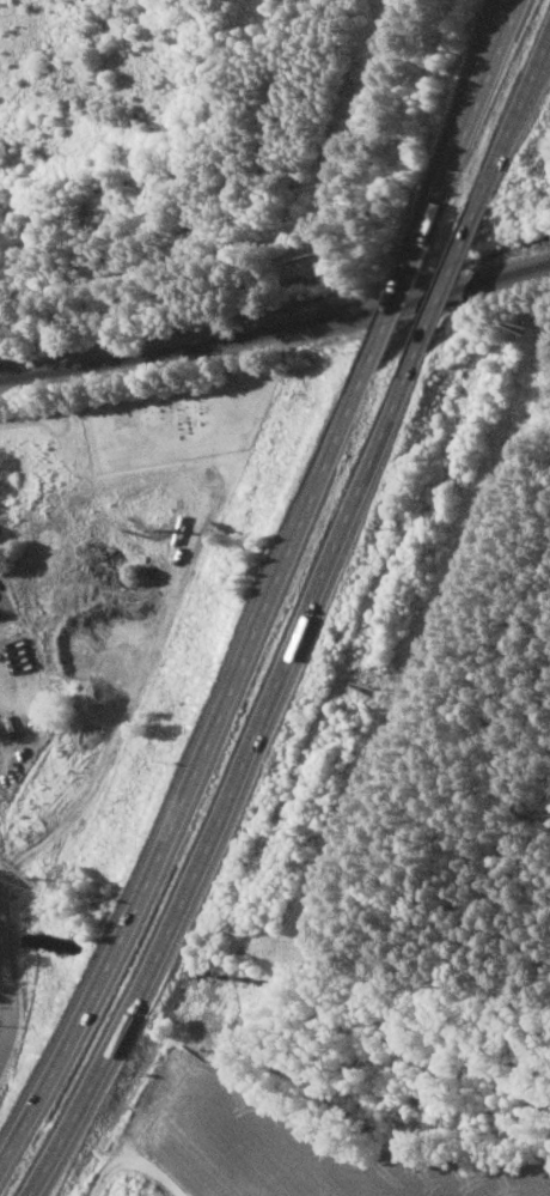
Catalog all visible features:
road: (531, 92)
road: (475, 113)
road: (513, 123)
road: (447, 283)
road: (397, 299)
railway: (276, 328)
road: (200, 765)
road: (236, 781)
road: (14, 969)
road: (8, 1164)
road: (132, 1164)
road: (169, 1192)

